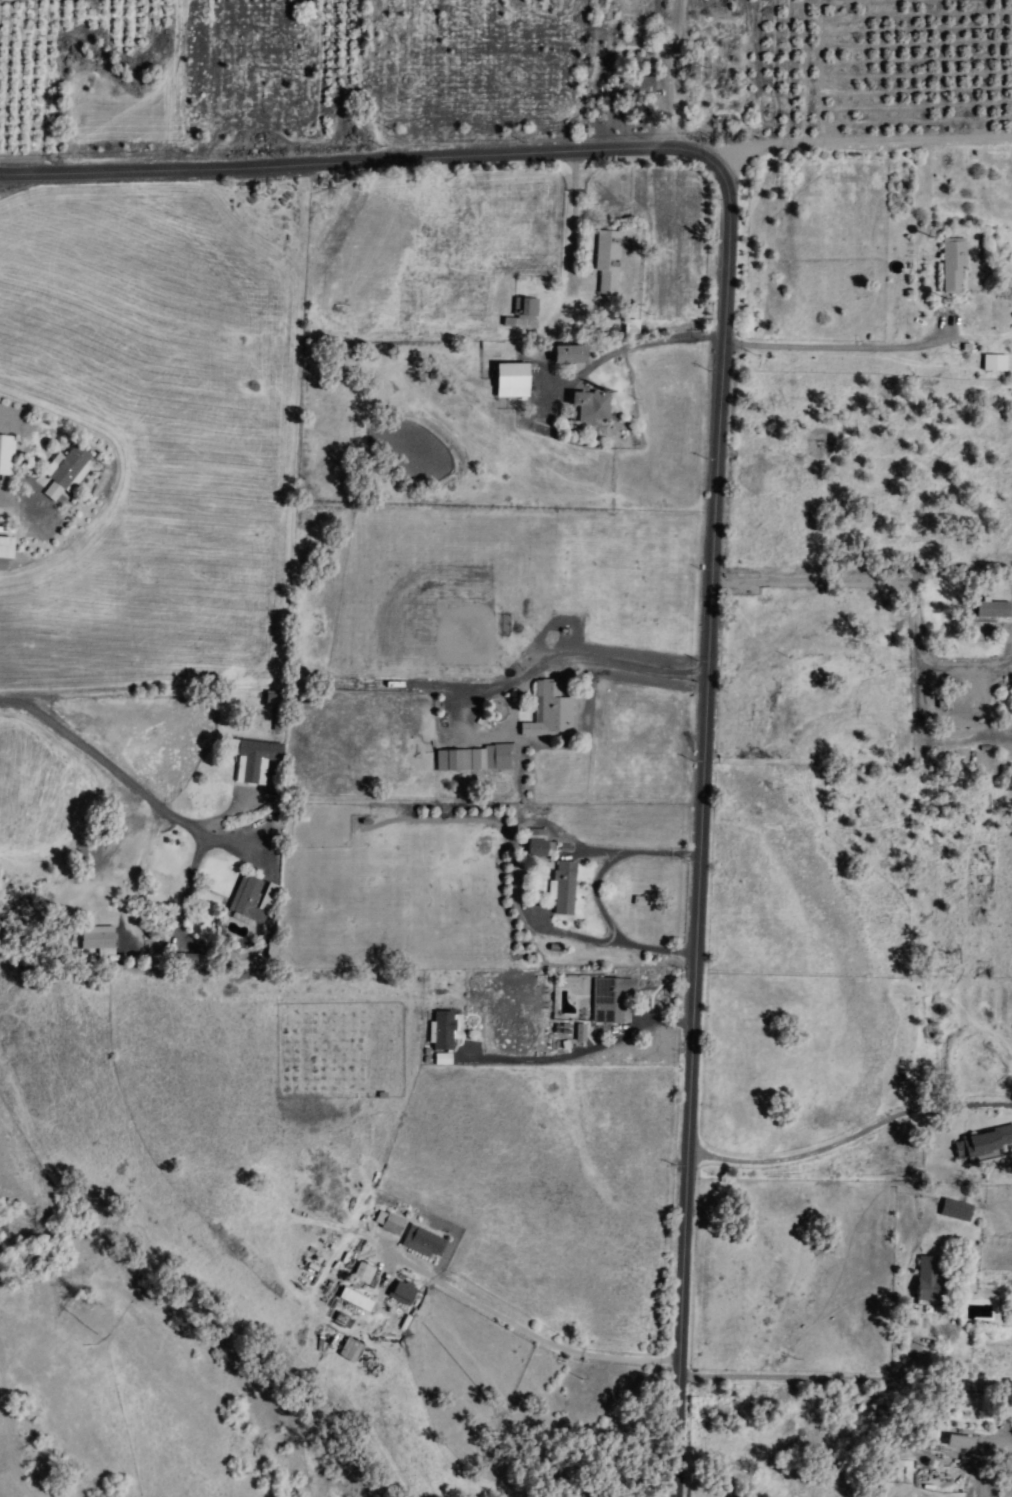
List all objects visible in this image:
road: (688, 73)
crop: (503, 85)
road: (909, 141)
road: (403, 154)
building: (606, 263)
building: (952, 266)
building: (520, 313)
road: (868, 345)
building: (564, 356)
building: (993, 365)
building: (508, 382)
building: (585, 410)
building: (5, 454)
building: (70, 468)
building: (990, 613)
building: (276, 700)
building: (550, 712)
building: (476, 758)
building: (255, 761)
road: (129, 774)
road: (705, 822)
building: (532, 849)
building: (562, 882)
road: (598, 892)
building: (253, 899)
building: (98, 938)
building: (608, 1000)
building: (447, 1031)
road: (588, 1047)
building: (983, 1143)
building: (953, 1211)
building: (392, 1225)
building: (421, 1243)
building: (362, 1274)
building: (924, 1280)
road: (537, 1335)
building: (350, 1351)
crop: (617, 1395)
building: (956, 1444)

